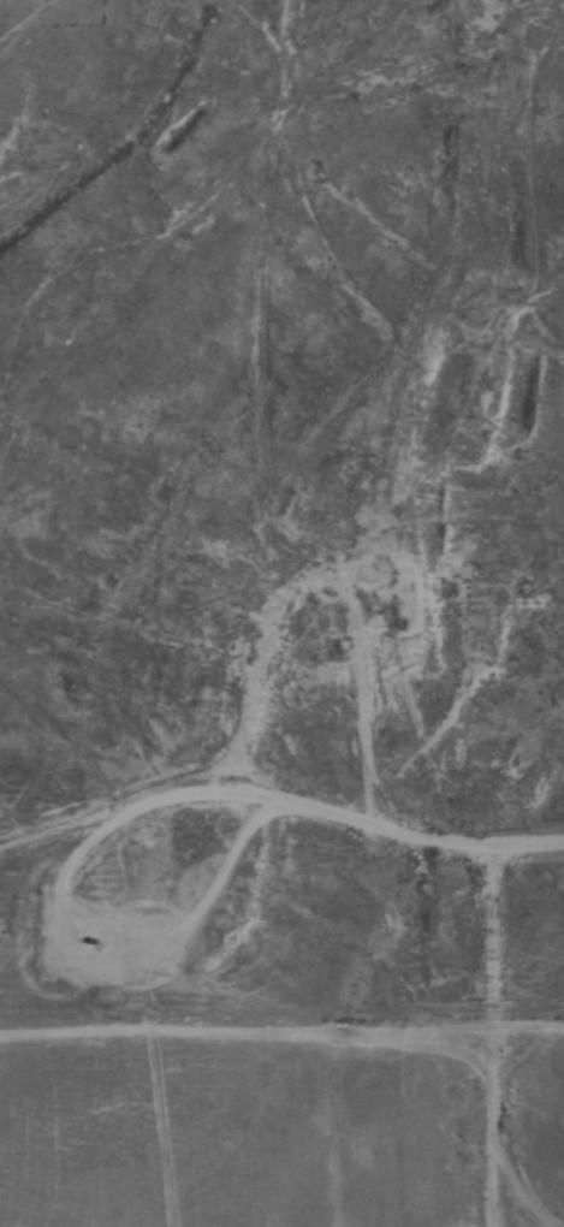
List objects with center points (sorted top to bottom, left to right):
road: (167, 204)
road: (317, 603)
road: (281, 832)
road: (455, 1024)

